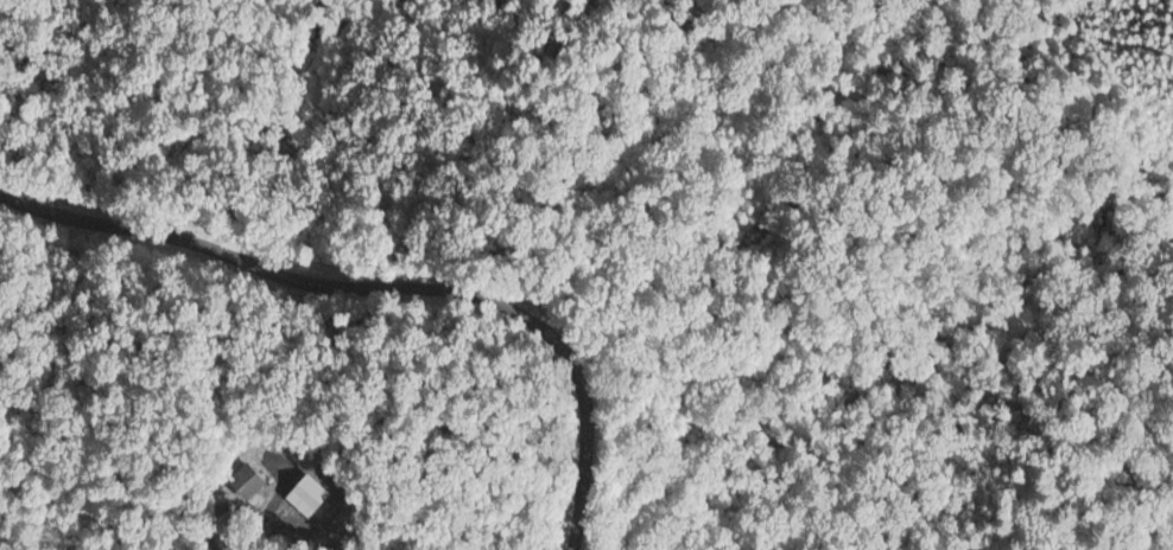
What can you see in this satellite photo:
road: (386, 287)
building: (262, 494)

